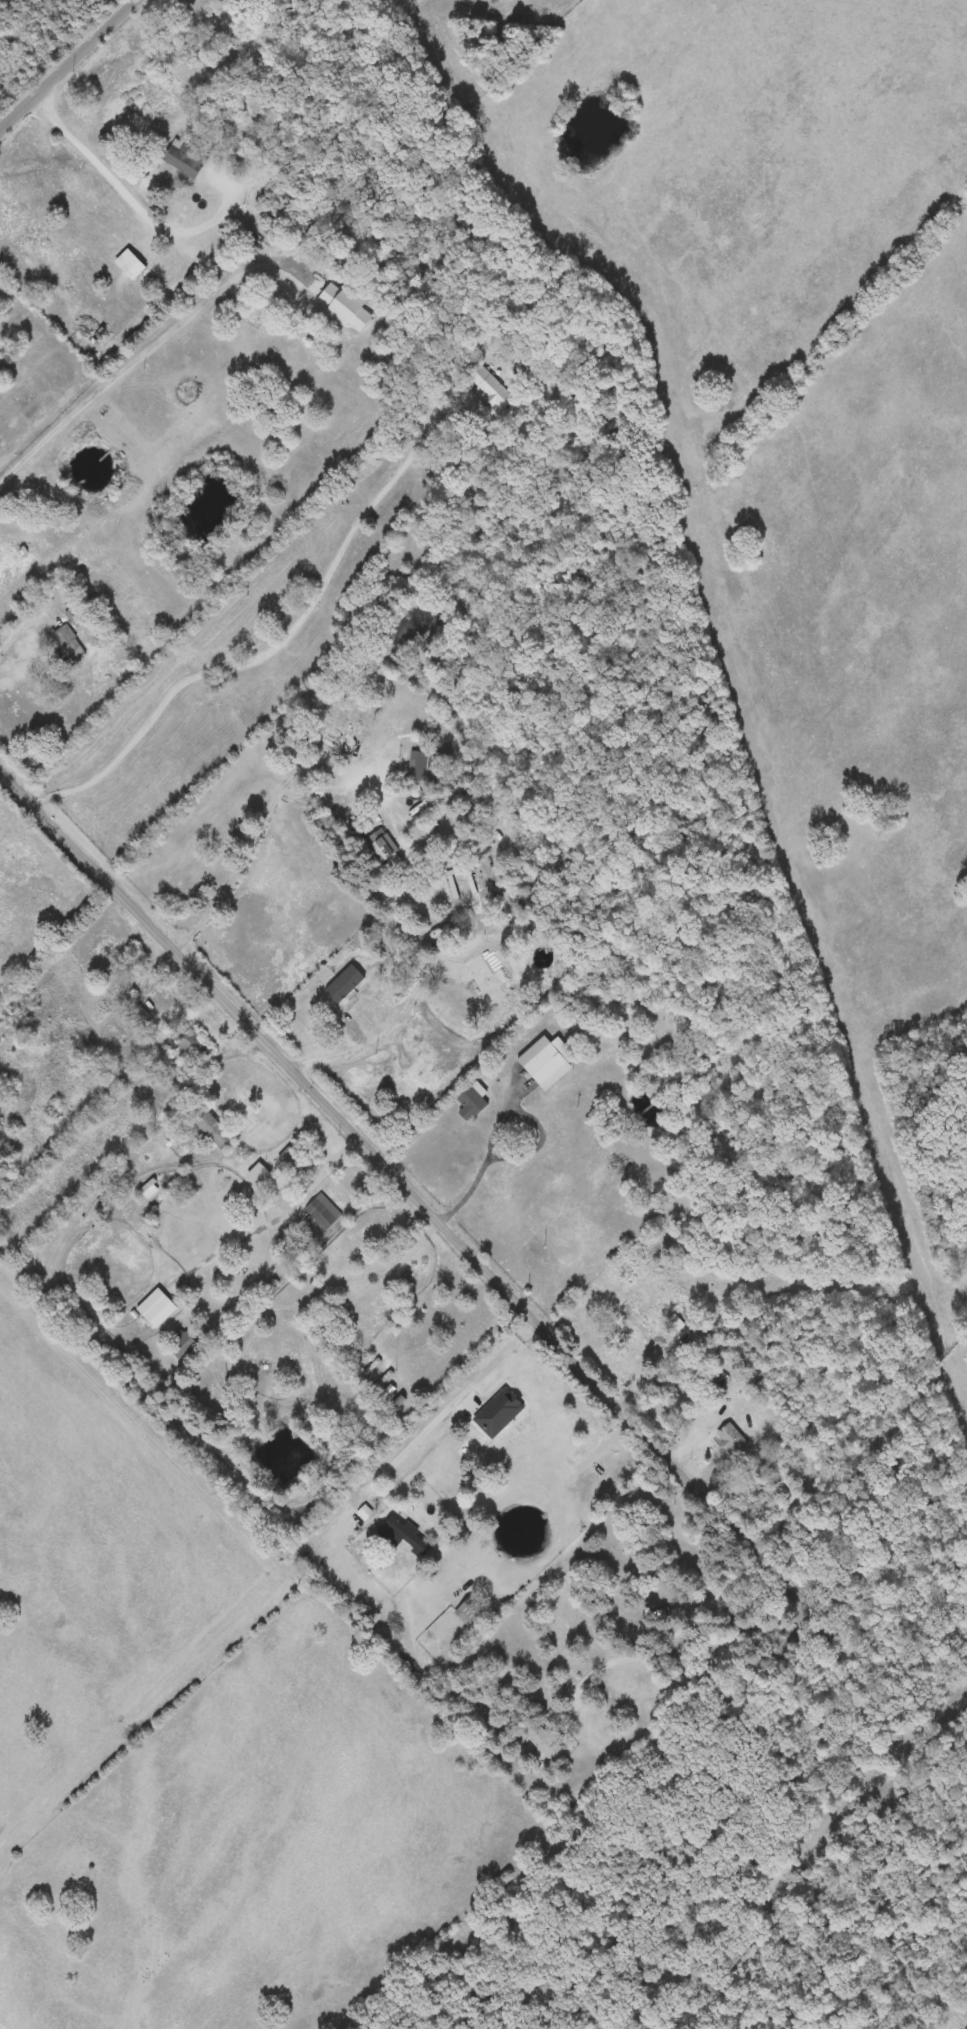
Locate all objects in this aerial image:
road: (67, 66)
building: (185, 159)
road: (150, 214)
road: (264, 263)
building: (345, 306)
building: (490, 388)
road: (107, 391)
building: (342, 491)
road: (27, 621)
road: (276, 645)
building: (68, 646)
building: (335, 737)
building: (382, 844)
road: (238, 871)
road: (401, 1019)
building: (196, 1048)
building: (549, 1062)
building: (473, 1101)
road: (345, 1120)
building: (213, 1129)
building: (294, 1162)
building: (260, 1176)
road: (317, 1180)
building: (150, 1190)
road: (468, 1191)
building: (324, 1212)
road: (223, 1253)
building: (158, 1309)
building: (638, 1325)
building: (183, 1347)
road: (662, 1367)
road: (452, 1406)
building: (732, 1439)
building: (403, 1536)
road: (810, 1597)
building: (471, 1612)
building: (545, 1741)

